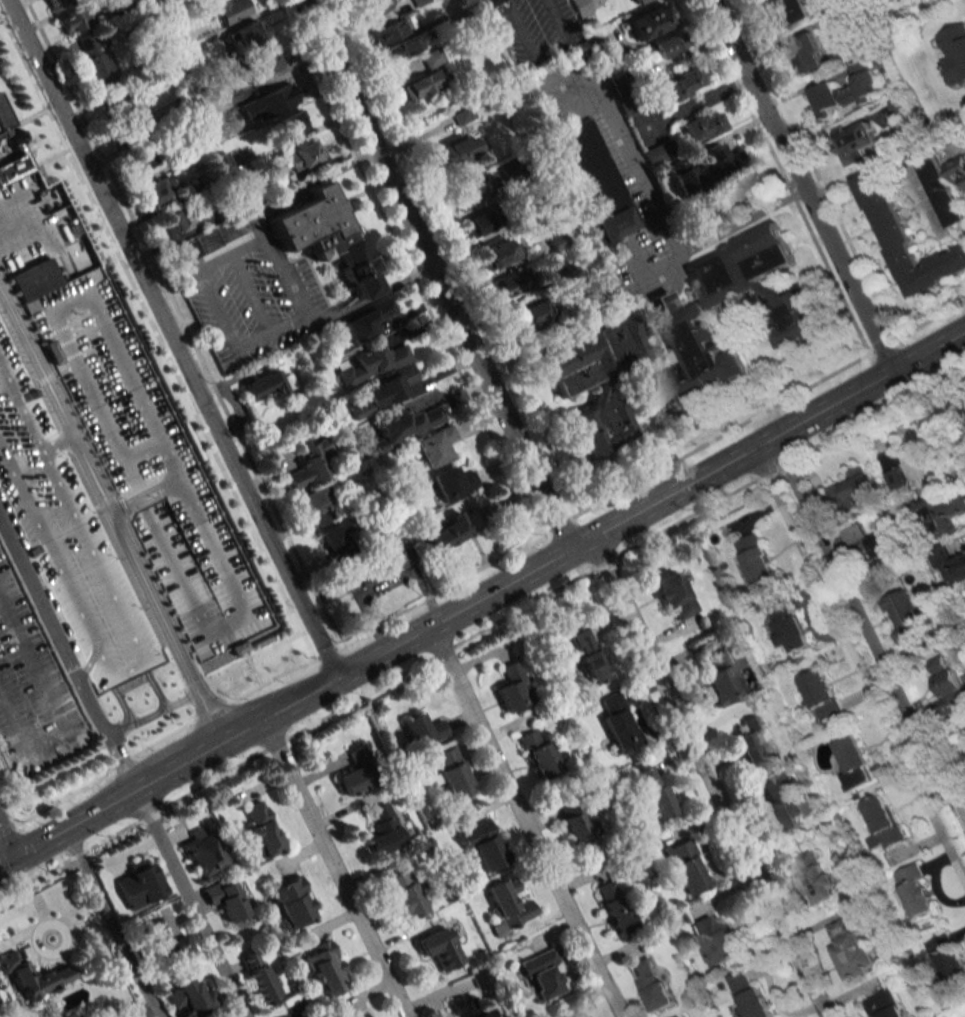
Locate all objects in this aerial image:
building: (467, 1)
building: (638, 1)
building: (420, 2)
building: (118, 3)
building: (491, 3)
building: (60, 4)
building: (373, 7)
building: (581, 8)
building: (230, 11)
building: (787, 12)
building: (74, 20)
building: (650, 21)
road: (522, 28)
building: (395, 29)
building: (248, 35)
road: (565, 35)
building: (670, 45)
building: (406, 47)
building: (957, 52)
building: (805, 53)
building: (432, 57)
building: (96, 61)
building: (265, 61)
building: (684, 84)
building: (421, 85)
building: (633, 90)
building: (848, 90)
building: (279, 100)
building: (125, 106)
building: (292, 122)
building: (703, 126)
building: (135, 132)
building: (855, 142)
building: (10, 149)
building: (455, 152)
building: (660, 152)
building: (304, 156)
road: (631, 157)
building: (140, 160)
road: (359, 161)
building: (706, 168)
building: (956, 169)
building: (230, 182)
building: (596, 182)
road: (800, 184)
building: (159, 189)
building: (937, 190)
building: (472, 191)
building: (749, 191)
road: (741, 222)
building: (480, 223)
building: (171, 224)
building: (324, 234)
building: (64, 235)
building: (216, 236)
building: (905, 241)
building: (499, 253)
road: (271, 255)
road: (437, 272)
building: (565, 274)
road: (405, 280)
building: (517, 281)
building: (608, 286)
road: (366, 300)
building: (533, 313)
road: (592, 321)
building: (365, 322)
building: (687, 336)
road: (171, 337)
building: (372, 363)
building: (265, 386)
road: (944, 390)
building: (384, 392)
building: (406, 425)
building: (436, 445)
building: (144, 460)
parking garage: (144, 460)
building: (310, 465)
building: (895, 470)
building: (454, 482)
building: (851, 487)
building: (317, 506)
road: (111, 507)
building: (941, 514)
building: (452, 531)
building: (67, 536)
parking garage: (67, 536)
building: (335, 541)
building: (869, 545)
building: (756, 559)
building: (949, 564)
building: (378, 568)
road: (482, 594)
building: (674, 596)
road: (42, 601)
road: (865, 615)
building: (905, 615)
road: (496, 623)
building: (787, 627)
building: (589, 656)
building: (212, 659)
road: (856, 668)
building: (721, 679)
building: (514, 687)
parking lot: (32, 688)
building: (948, 688)
building: (821, 695)
road: (59, 712)
road: (97, 712)
road: (156, 712)
building: (619, 724)
building: (423, 729)
building: (751, 742)
building: (539, 753)
road: (122, 760)
building: (855, 763)
building: (357, 772)
building: (453, 773)
road: (707, 775)
building: (653, 793)
building: (782, 804)
road: (522, 819)
building: (574, 821)
building: (883, 823)
building: (384, 829)
building: (261, 831)
road: (7, 838)
building: (483, 845)
traffic signals: (14, 853)
building: (202, 853)
road: (333, 866)
building: (686, 867)
building: (815, 877)
building: (139, 885)
road: (13, 888)
building: (915, 890)
building: (404, 894)
building: (225, 898)
road: (188, 901)
building: (292, 903)
building: (510, 903)
building: (616, 907)
road: (111, 921)
building: (717, 940)
building: (162, 942)
building: (850, 947)
building: (439, 948)
building: (946, 956)
building: (324, 968)
building: (57, 973)
building: (542, 974)
building: (258, 977)
building: (651, 983)
building: (191, 996)
building: (749, 996)
building: (885, 1004)
building: (466, 1007)
road: (145, 1011)
building: (576, 1014)
building: (286, 1016)
building: (363, 1016)

